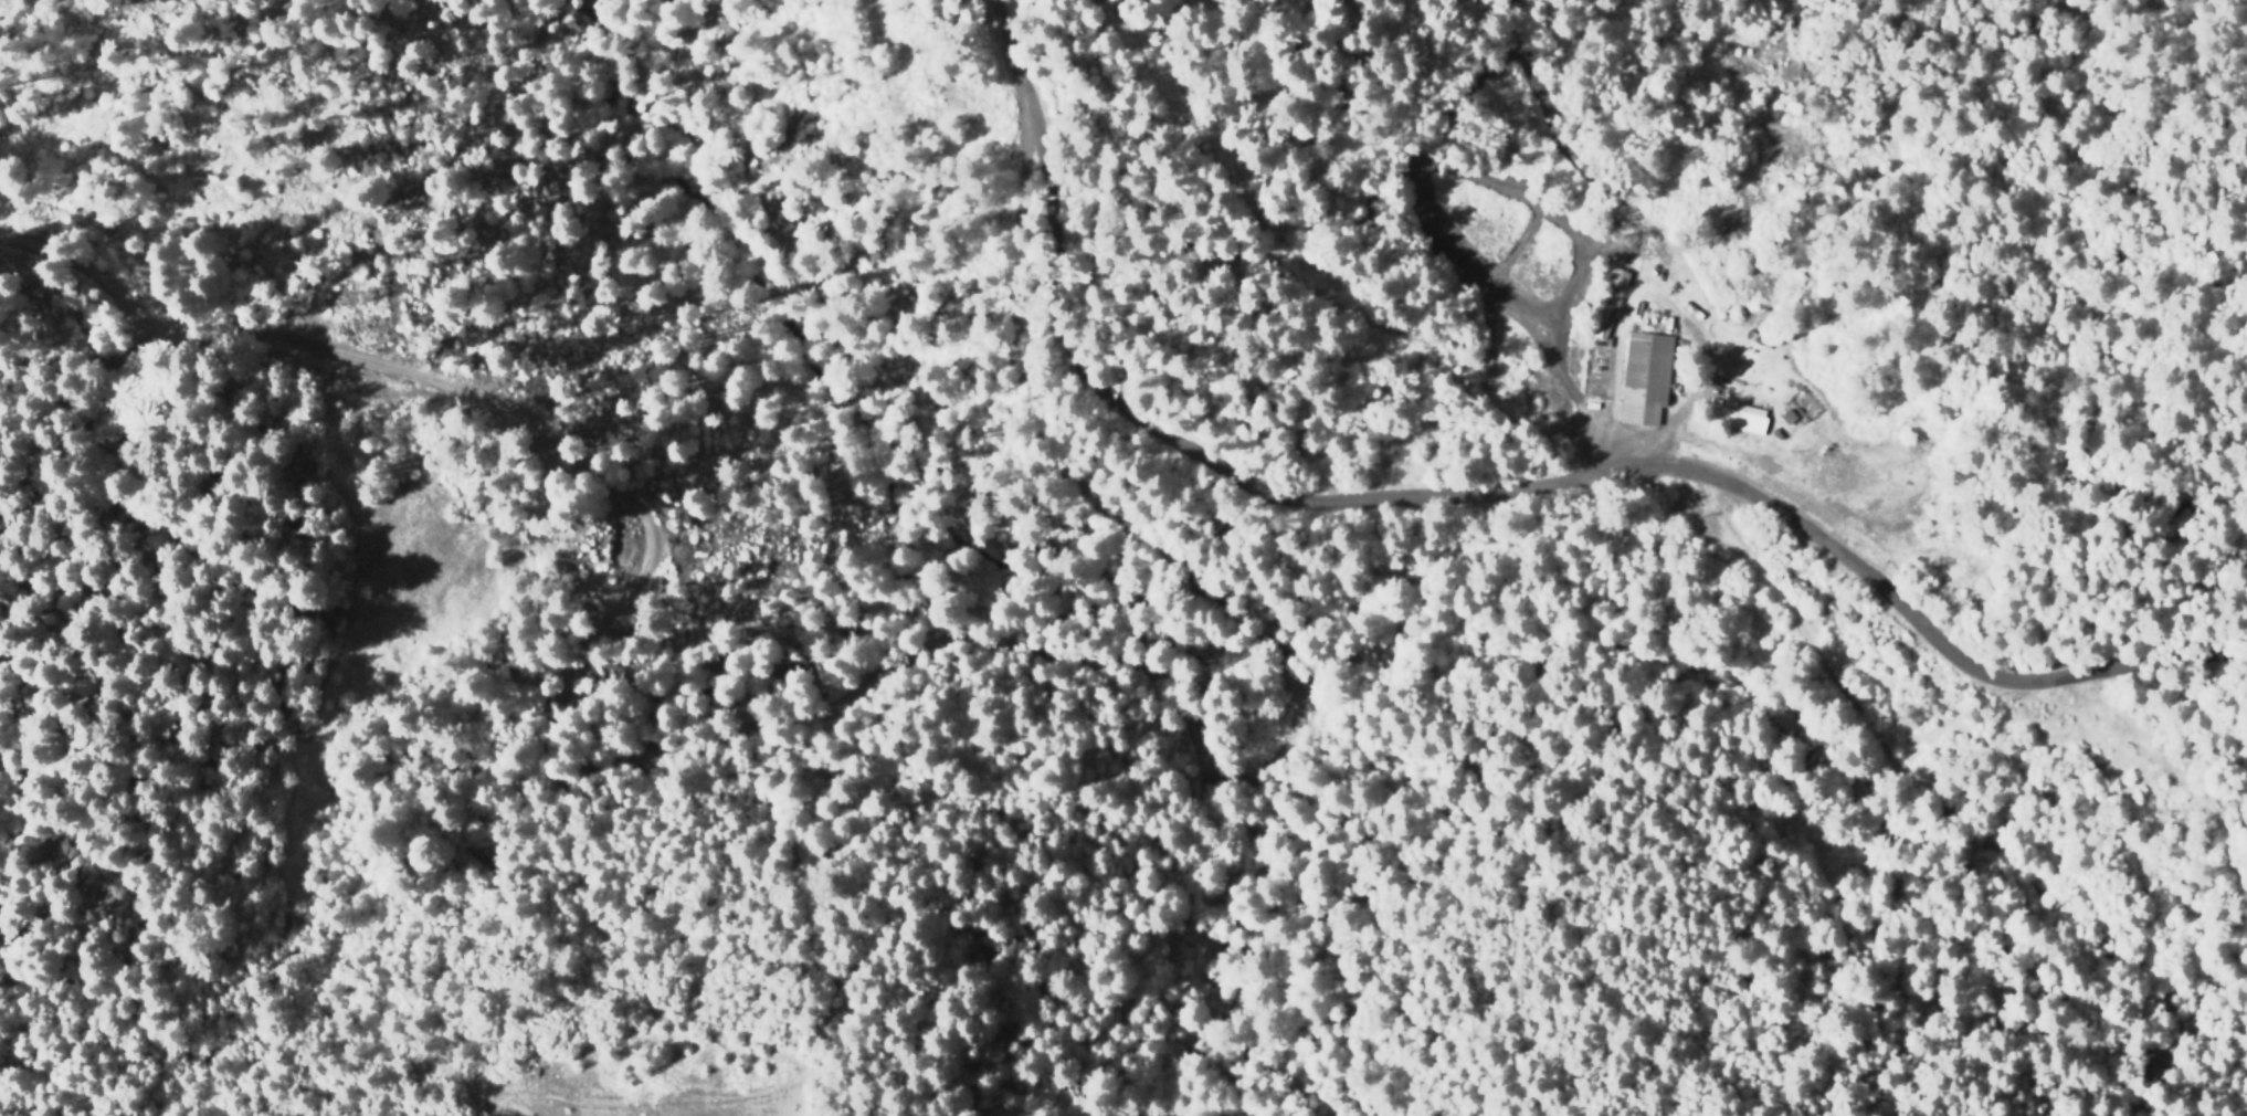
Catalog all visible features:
building: (1611, 303)
building: (1752, 370)
building: (1648, 377)
building: (1787, 415)
building: (1745, 420)
building: (1779, 435)
road: (1492, 486)
road: (706, 725)

